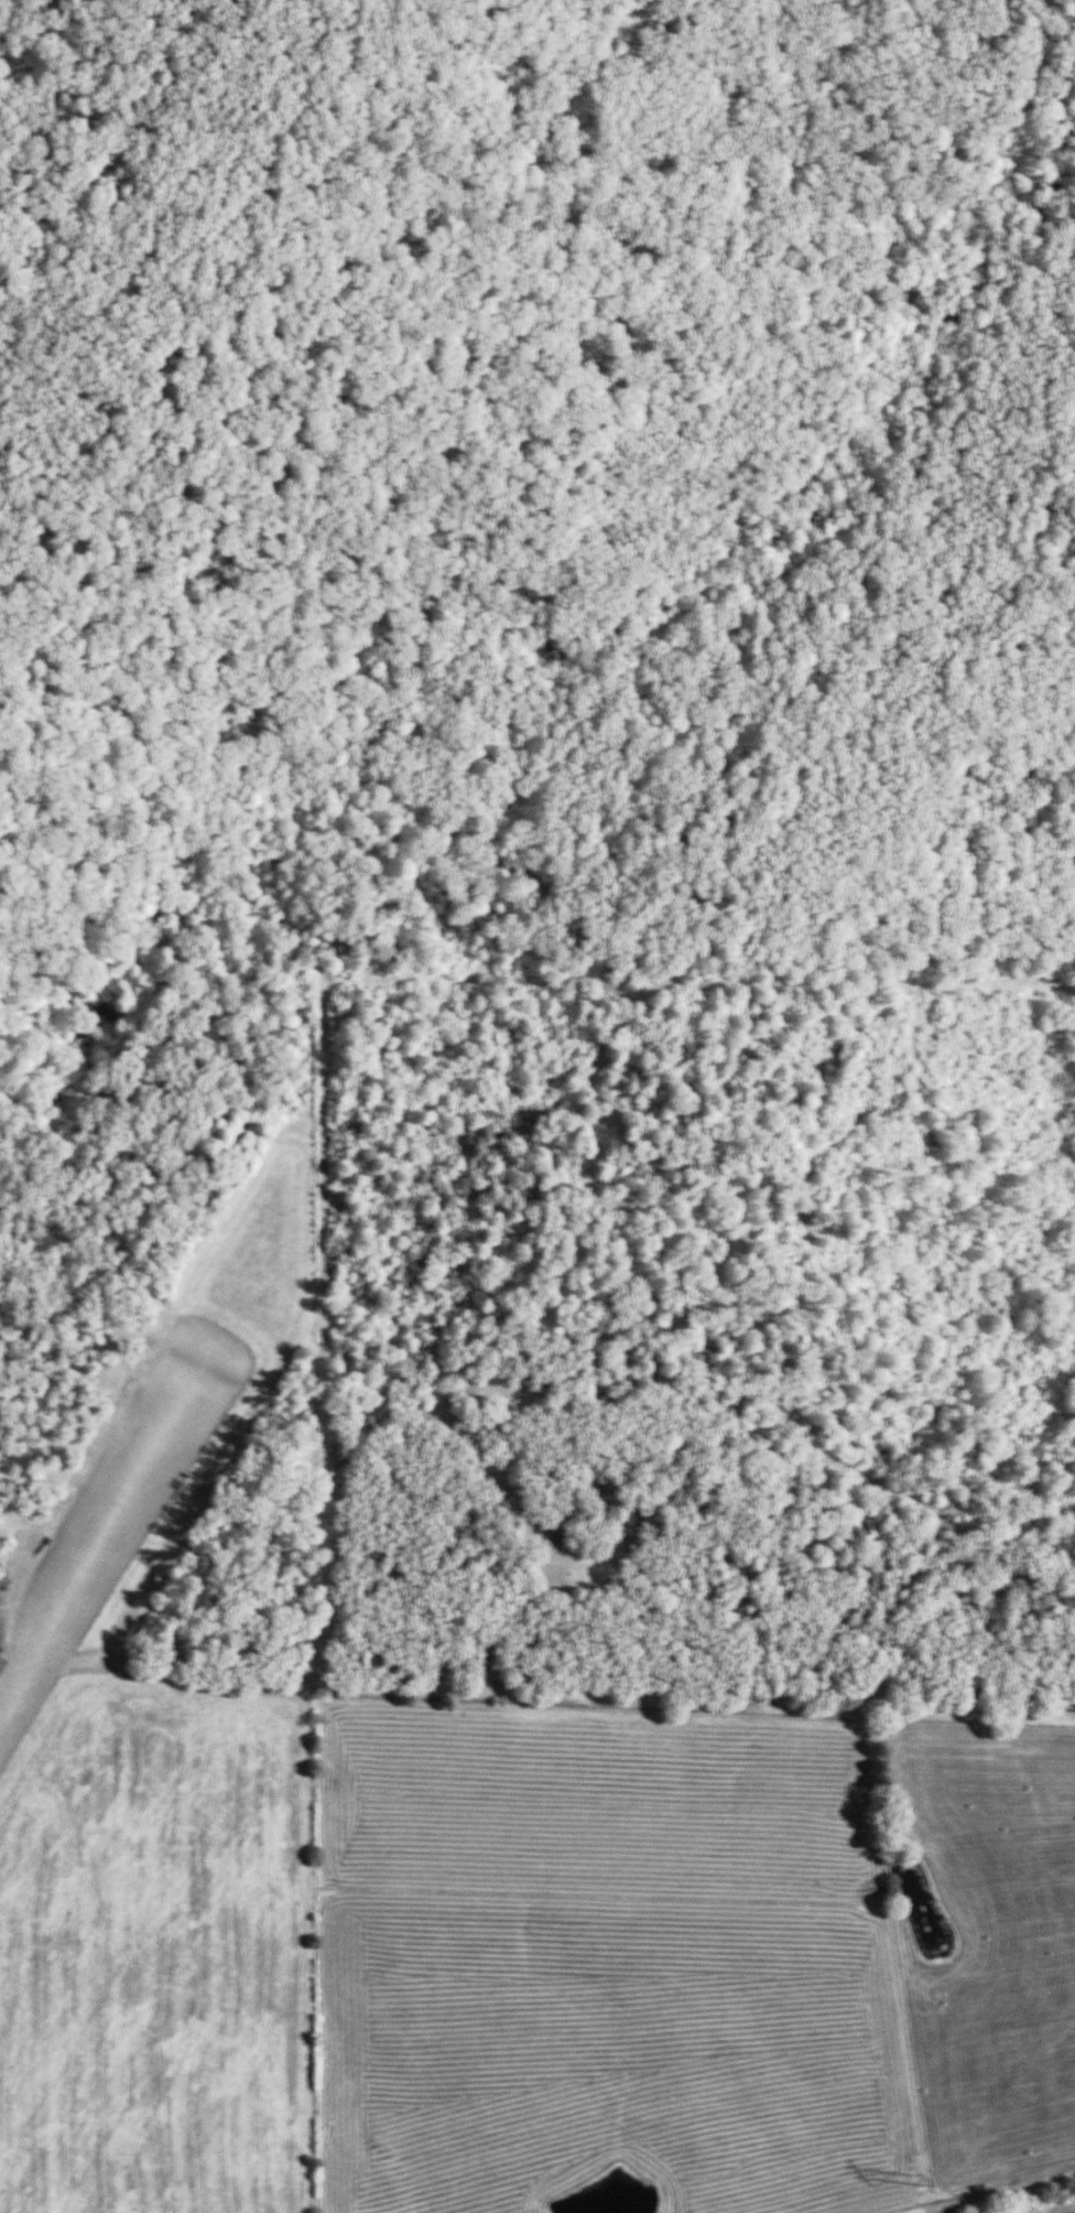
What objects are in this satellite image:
power tower: (911, 2179)
railway: (1065, 2211)

